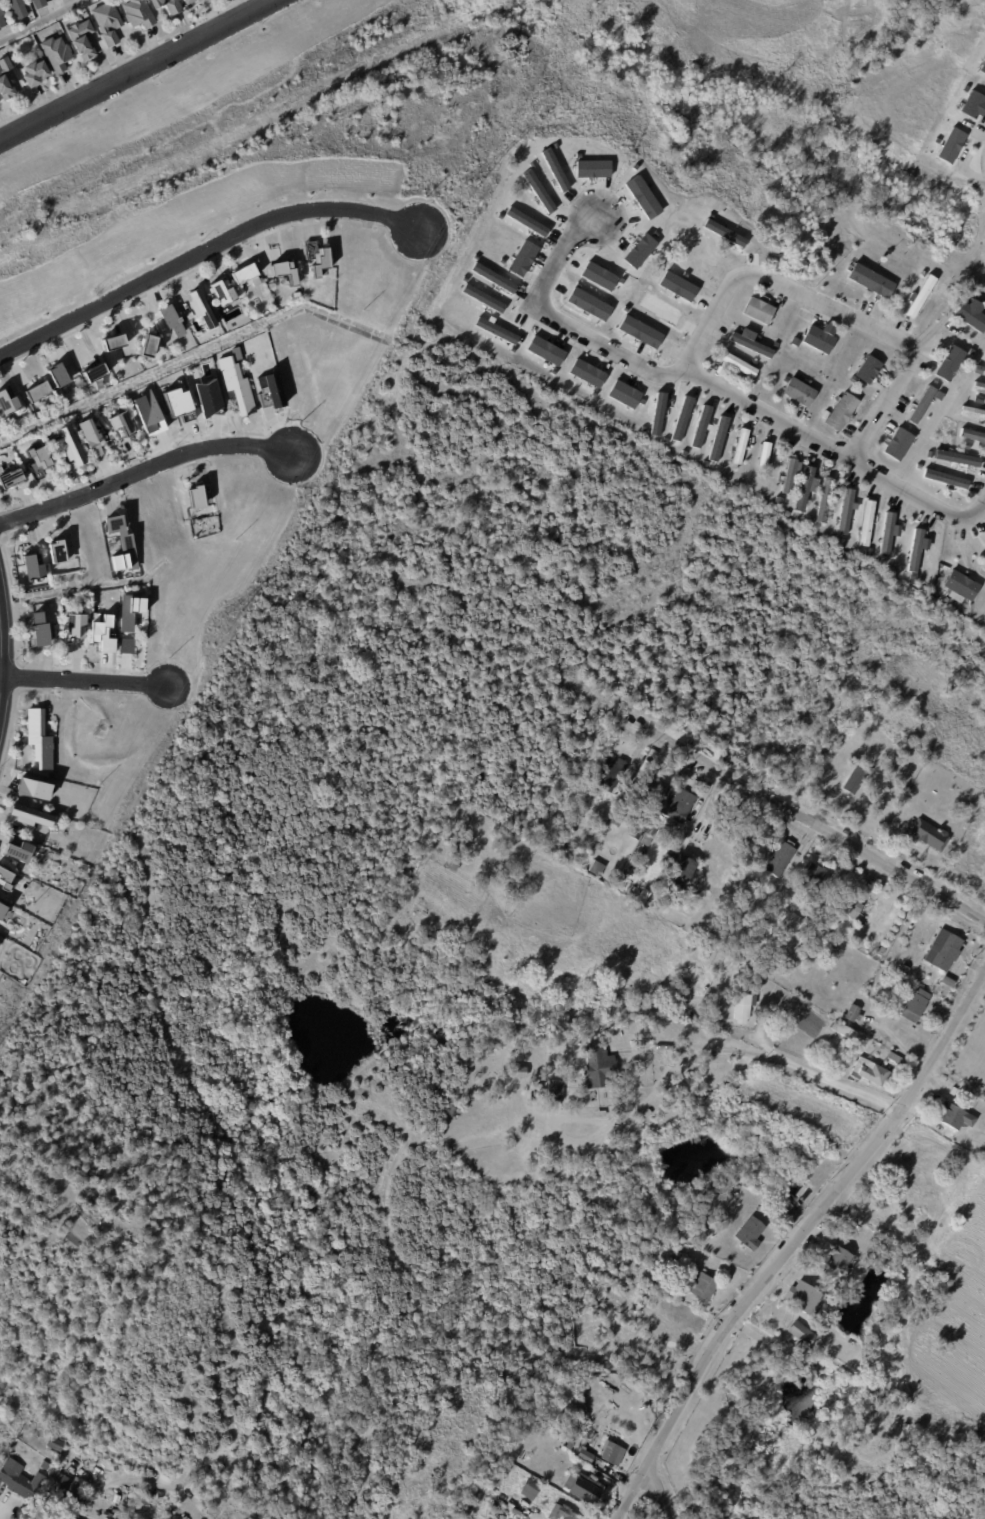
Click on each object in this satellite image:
building: (188, 1)
building: (198, 1)
building: (40, 3)
building: (167, 5)
building: (17, 8)
building: (138, 13)
building: (1, 18)
road: (44, 21)
building: (107, 22)
building: (13, 24)
building: (82, 39)
building: (56, 54)
building: (982, 67)
road: (140, 71)
building: (35, 73)
building: (5, 81)
building: (968, 89)
building: (974, 106)
building: (950, 144)
building: (591, 168)
building: (554, 170)
power tower: (464, 190)
building: (526, 221)
building: (635, 254)
road: (207, 257)
building: (522, 257)
building: (319, 262)
building: (245, 272)
building: (281, 273)
building: (923, 273)
building: (598, 275)
building: (492, 277)
building: (871, 281)
building: (220, 292)
building: (296, 294)
building: (921, 296)
building: (482, 297)
building: (588, 303)
building: (200, 310)
road: (833, 310)
building: (759, 311)
road: (711, 314)
building: (973, 315)
building: (168, 319)
road: (560, 320)
building: (495, 330)
building: (819, 338)
building: (978, 338)
building: (111, 341)
building: (749, 342)
building: (145, 346)
building: (545, 350)
building: (974, 354)
building: (951, 358)
building: (984, 361)
building: (739, 364)
building: (869, 370)
building: (587, 372)
building: (96, 373)
building: (58, 375)
building: (236, 384)
building: (979, 387)
building: (955, 389)
building: (268, 390)
building: (37, 391)
building: (800, 392)
building: (624, 394)
building: (206, 395)
building: (940, 396)
building: (8, 402)
building: (176, 404)
building: (923, 405)
road: (886, 410)
building: (841, 411)
building: (973, 412)
building: (147, 413)
building: (680, 418)
building: (119, 421)
building: (699, 426)
building: (972, 435)
building: (89, 437)
building: (717, 438)
building: (898, 444)
building: (69, 445)
building: (967, 446)
building: (741, 447)
road: (835, 452)
building: (764, 455)
building: (955, 457)
building: (37, 462)
building: (919, 467)
road: (147, 470)
building: (789, 476)
building: (11, 478)
building: (945, 479)
building: (804, 486)
building: (197, 495)
building: (824, 500)
building: (779, 501)
building: (845, 511)
building: (866, 523)
building: (889, 534)
building: (121, 542)
building: (916, 549)
building: (59, 551)
building: (869, 553)
building: (884, 559)
building: (32, 569)
building: (983, 571)
building: (962, 585)
building: (939, 598)
building: (130, 609)
power tower: (221, 623)
building: (75, 625)
building: (39, 629)
building: (102, 633)
building: (126, 645)
road: (0, 664)
road: (83, 680)
building: (869, 695)
building: (837, 720)
building: (39, 738)
building: (51, 774)
building: (615, 774)
building: (855, 781)
building: (33, 788)
building: (651, 790)
building: (678, 804)
building: (30, 815)
building: (615, 819)
road: (811, 821)
building: (639, 827)
building: (651, 829)
building: (930, 835)
building: (649, 840)
building: (17, 849)
building: (644, 849)
building: (55, 853)
building: (570, 855)
building: (780, 859)
building: (453, 862)
building: (684, 867)
building: (597, 869)
building: (816, 876)
building: (6, 879)
building: (729, 902)
building: (847, 904)
building: (2, 911)
building: (0, 935)
building: (1, 938)
building: (830, 949)
building: (944, 950)
building: (880, 952)
building: (891, 952)
building: (904, 970)
building: (909, 975)
building: (758, 979)
building: (948, 980)
building: (23, 981)
building: (887, 981)
building: (737, 982)
building: (916, 1005)
building: (742, 1008)
building: (854, 1014)
building: (765, 1019)
building: (848, 1034)
road: (173, 1040)
road: (726, 1050)
road: (134, 1057)
building: (896, 1059)
building: (599, 1067)
building: (518, 1072)
building: (870, 1072)
road: (833, 1081)
building: (556, 1089)
building: (553, 1107)
building: (454, 1112)
building: (600, 1113)
building: (954, 1117)
building: (783, 1202)
building: (751, 1234)
road: (794, 1242)
building: (838, 1259)
building: (704, 1288)
building: (804, 1297)
crop: (949, 1333)
building: (802, 1334)
building: (906, 1426)
building: (978, 1436)
building: (54, 1445)
building: (567, 1446)
building: (610, 1453)
building: (583, 1457)
building: (499, 1471)
building: (19, 1482)
building: (67, 1488)
building: (579, 1488)
building: (525, 1490)
road: (656, 1493)
building: (188, 1500)
building: (558, 1513)
building: (512, 1514)
building: (65, 1518)

